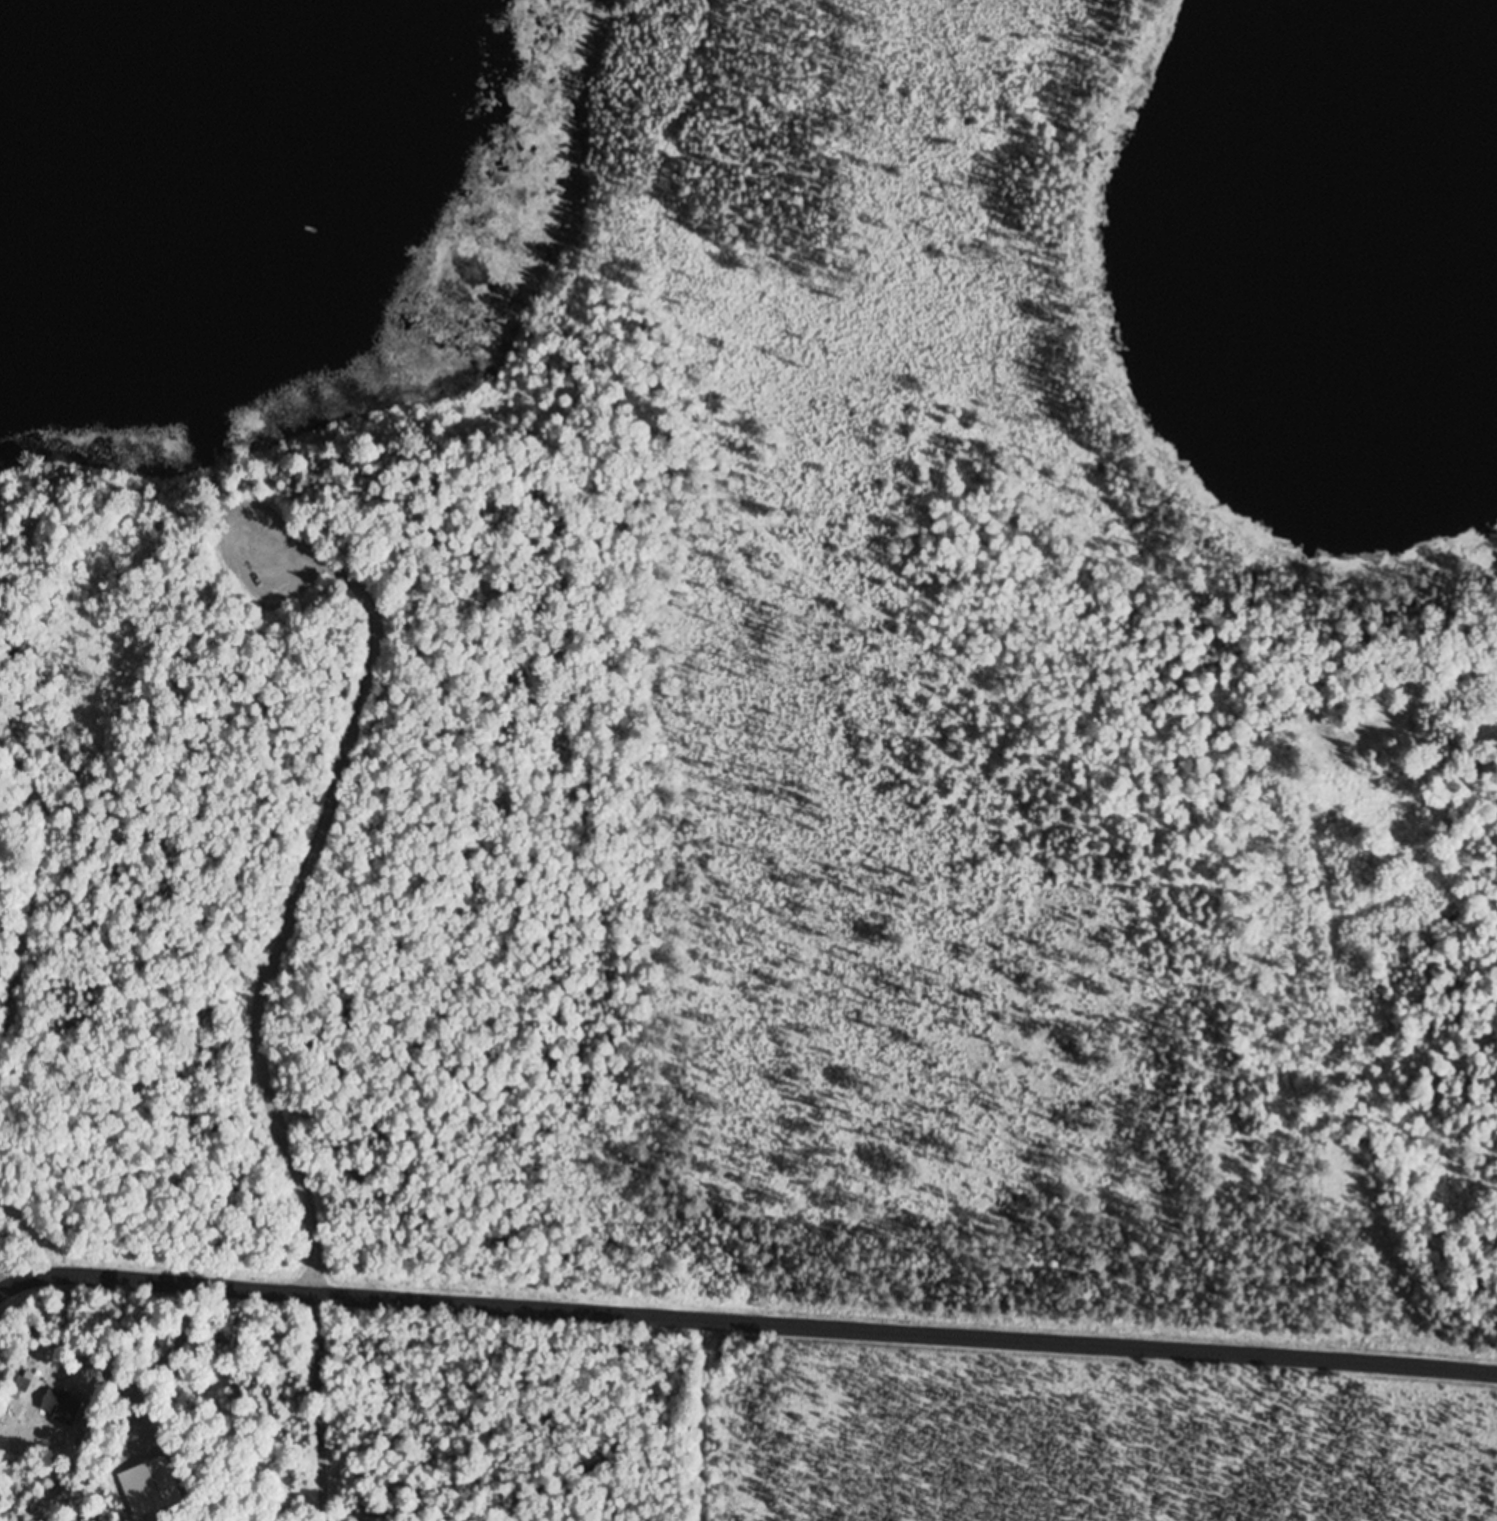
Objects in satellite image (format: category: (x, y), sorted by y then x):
road: (304, 888)
road: (747, 1323)
building: (16, 1382)
building: (39, 1397)

